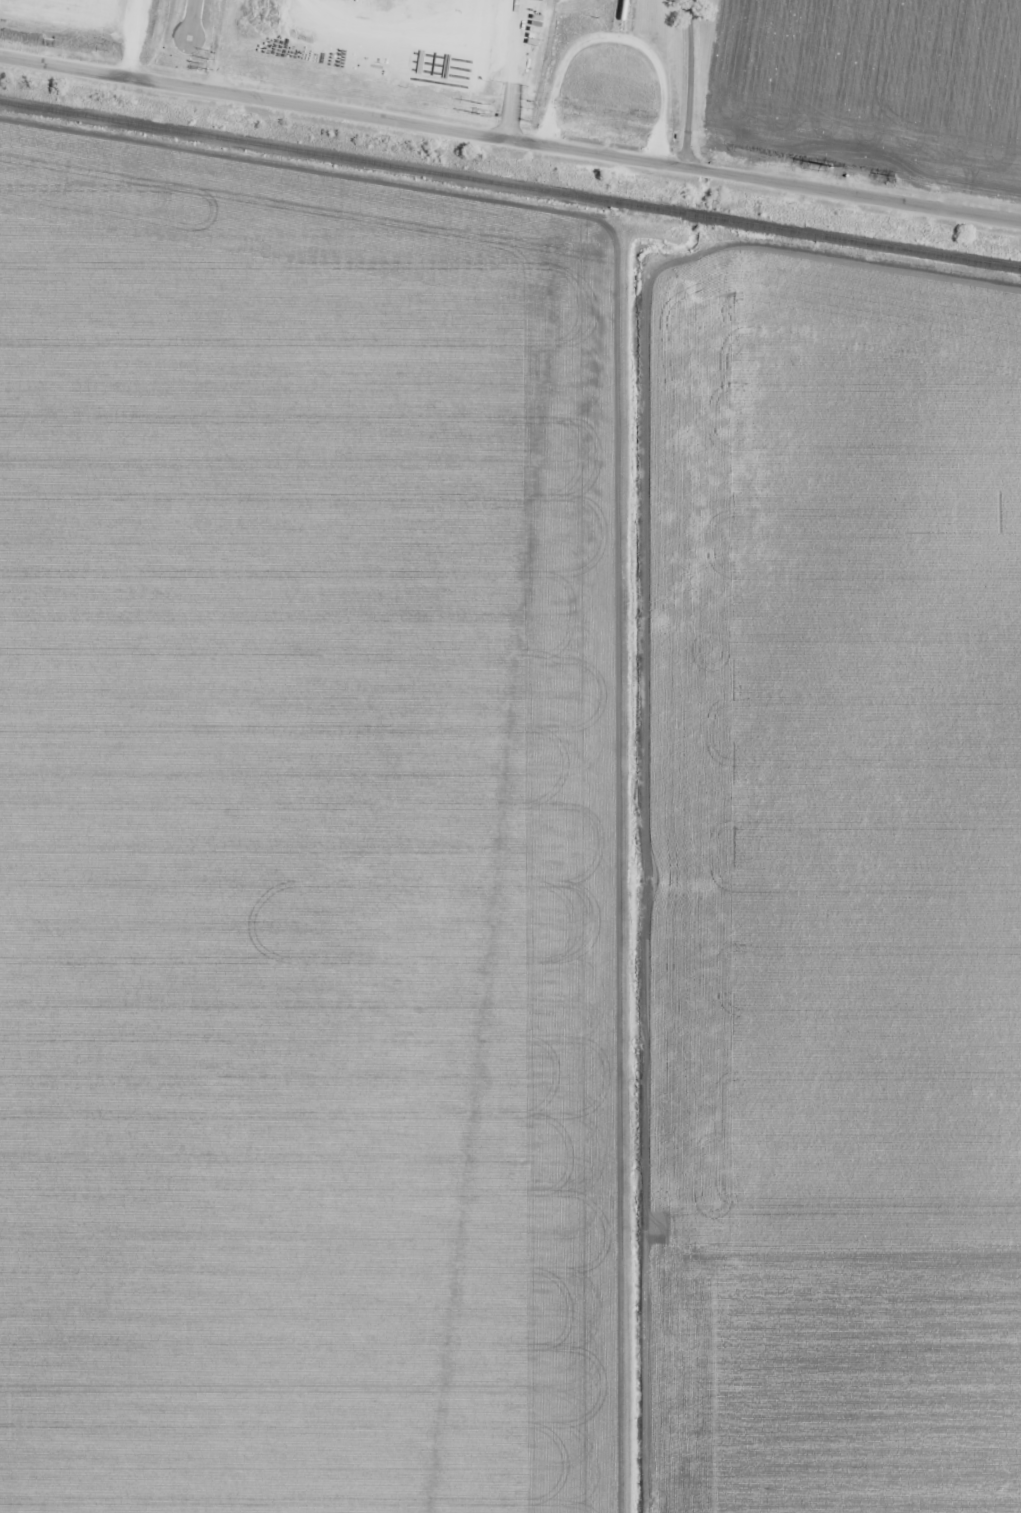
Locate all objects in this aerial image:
power tower: (198, 66)
road: (509, 69)
power tower: (483, 114)
road: (510, 140)
power tower: (818, 168)
railway: (510, 184)

